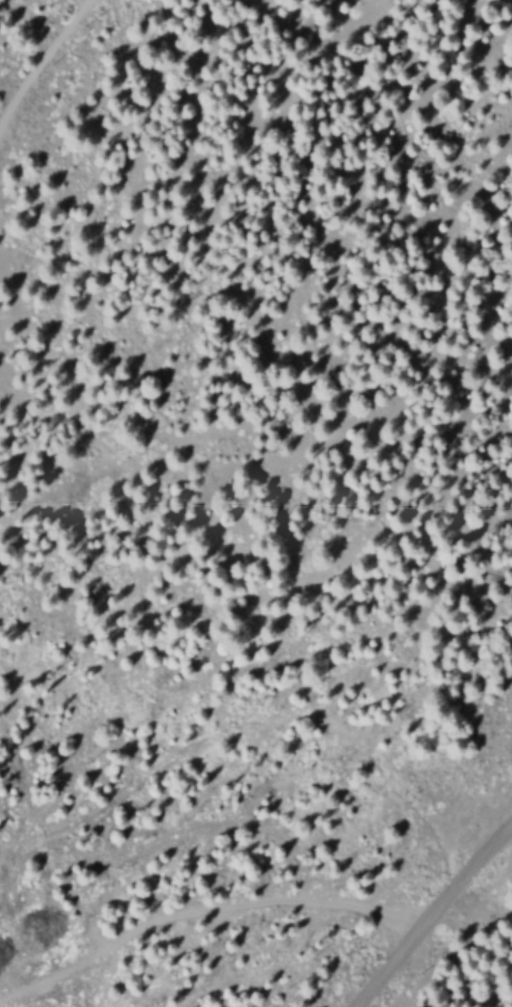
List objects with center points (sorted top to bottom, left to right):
road: (430, 913)

